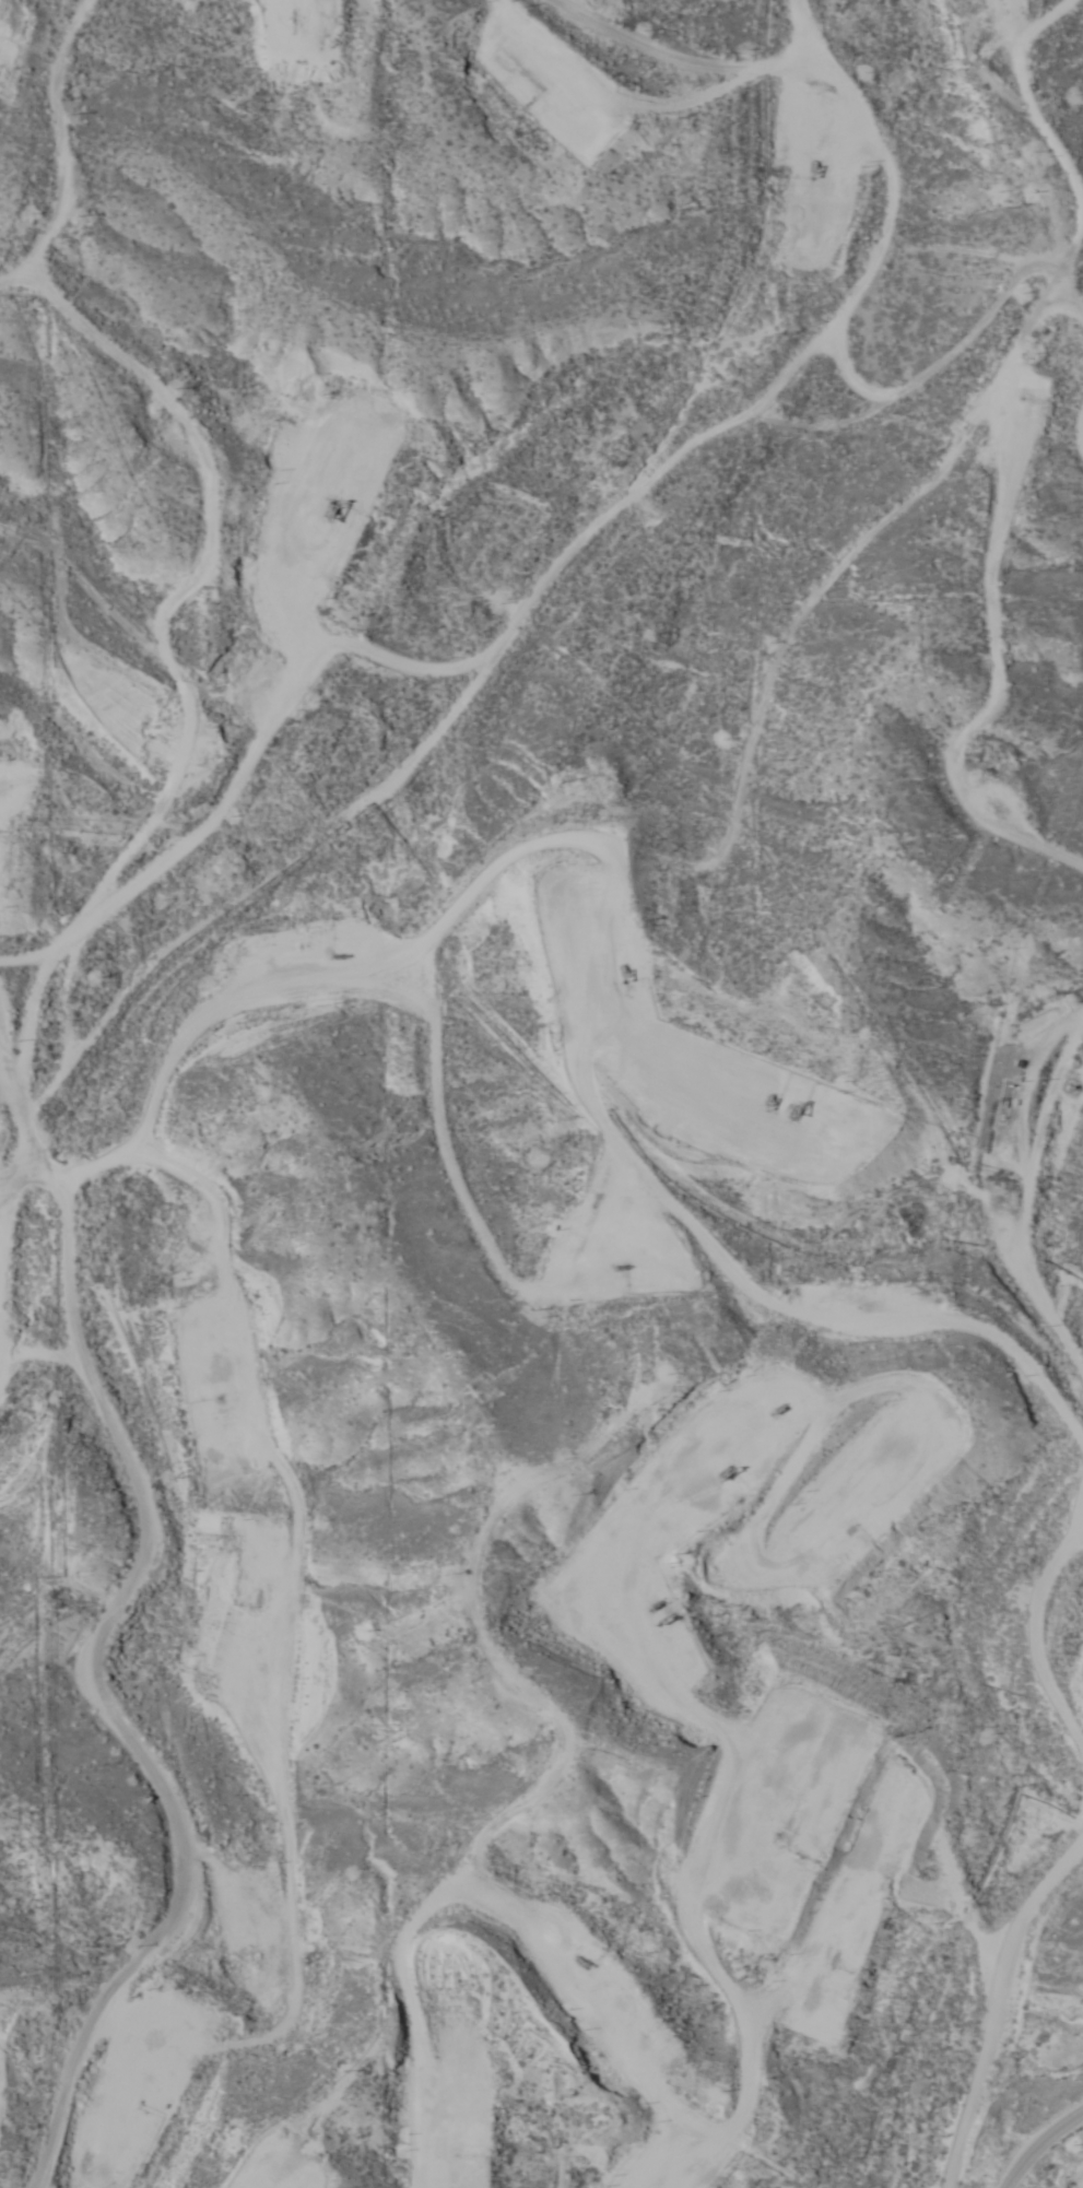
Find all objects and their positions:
road: (67, 12)
road: (814, 37)
road: (848, 96)
road: (48, 129)
road: (1052, 259)
road: (588, 484)
road: (963, 544)
road: (224, 638)
road: (20, 1127)
road: (1078, 1231)
road: (911, 1301)
road: (128, 1660)
road: (582, 1661)
road: (906, 1891)
road: (1003, 2072)
road: (1043, 2146)
road: (129, 2157)
road: (111, 2174)

